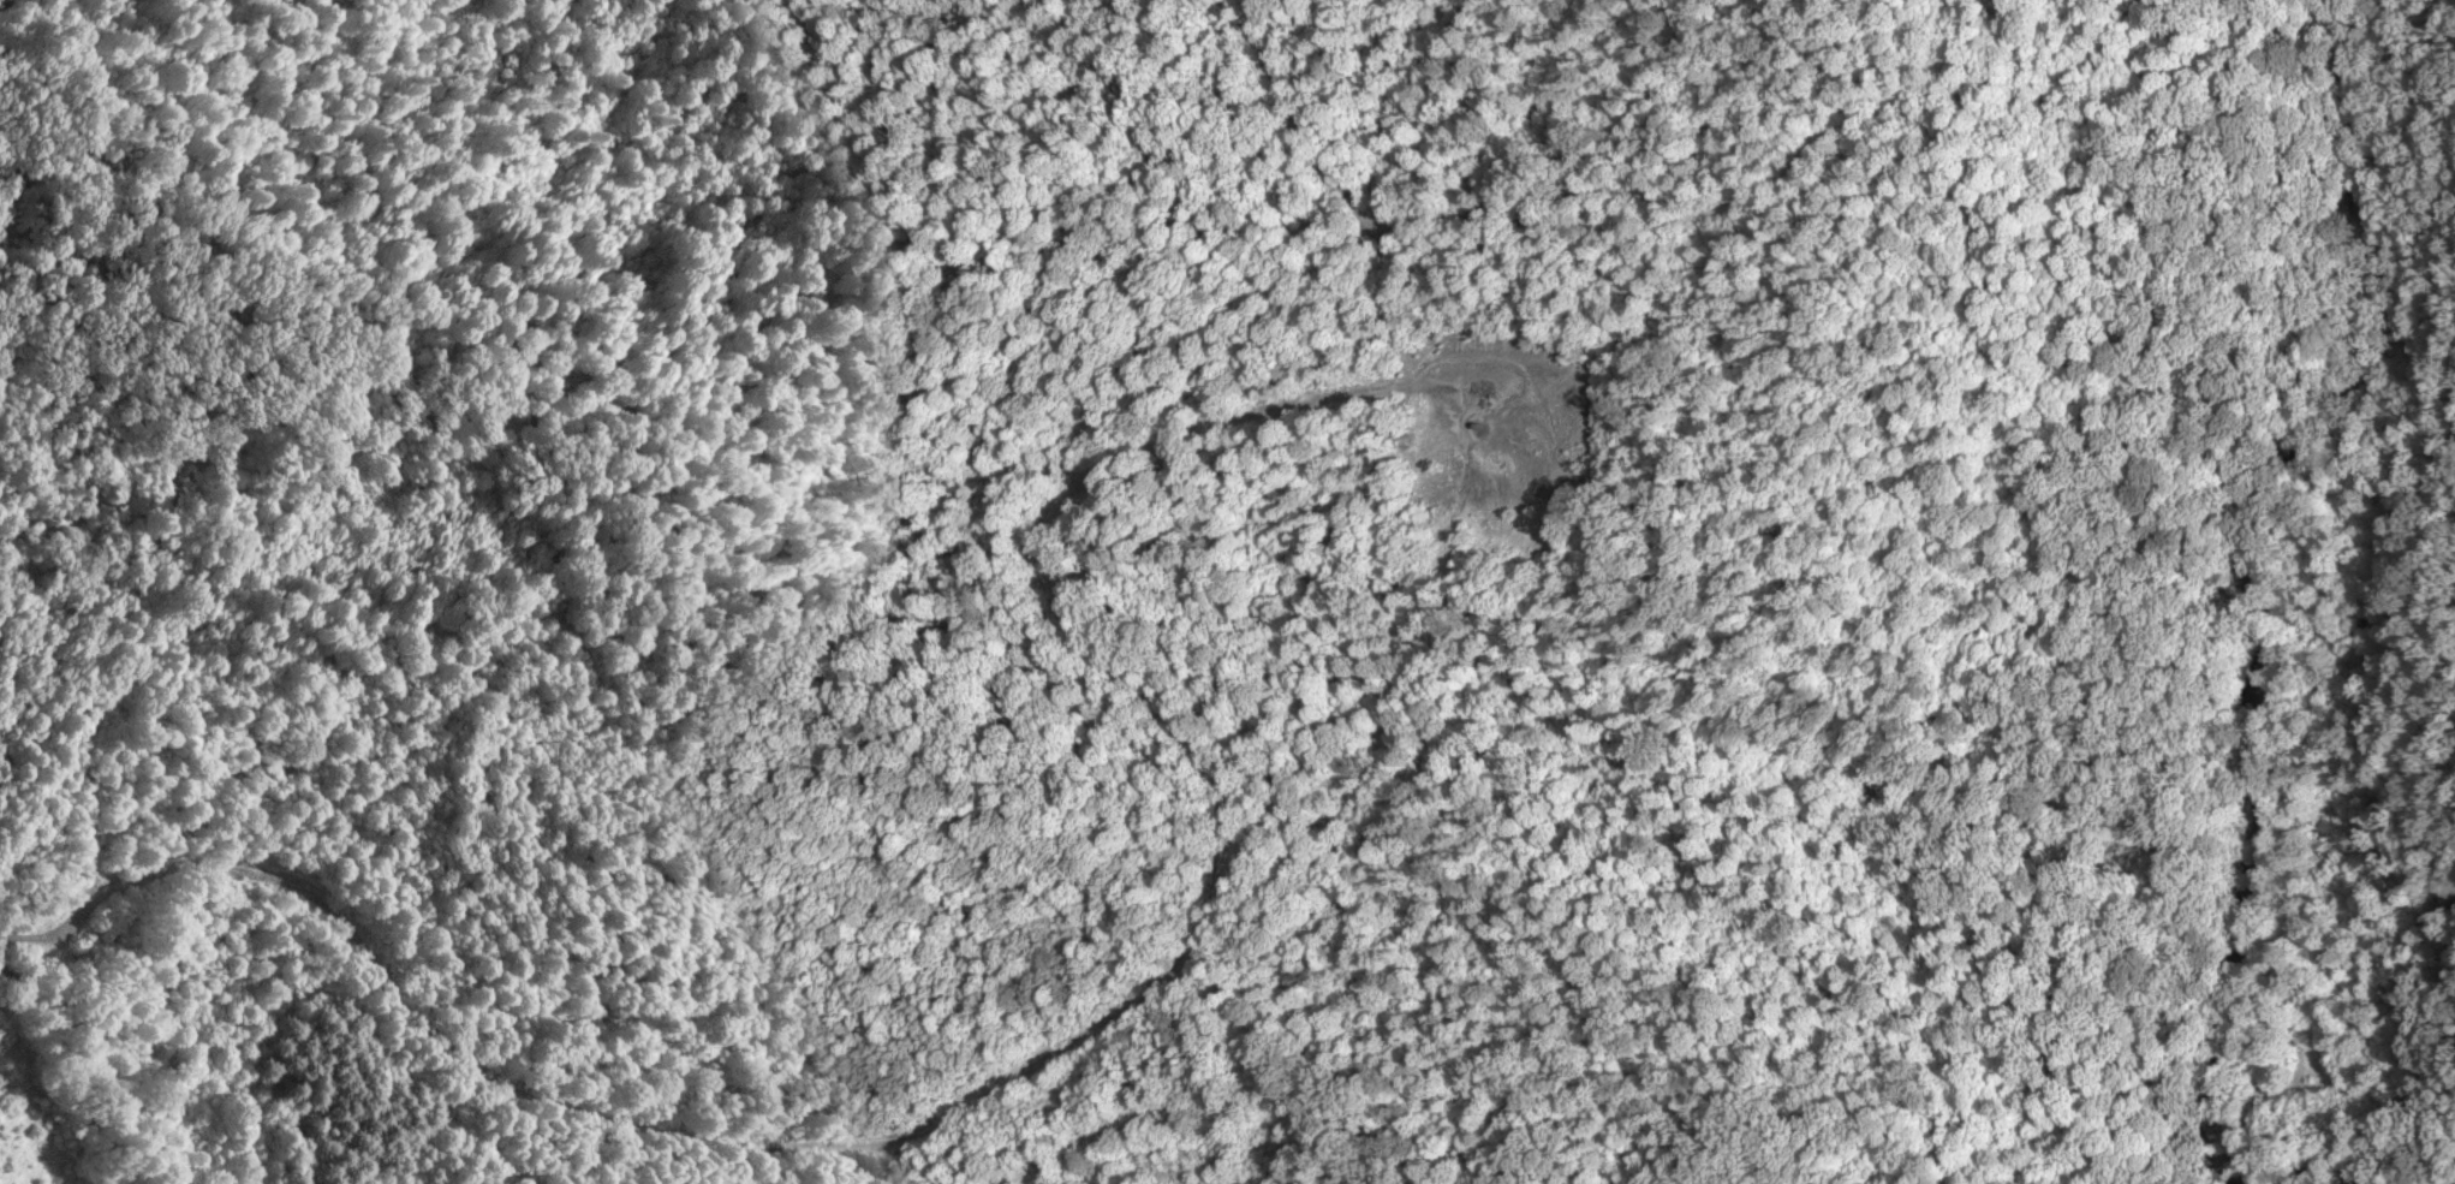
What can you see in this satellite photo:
road: (71, 1051)

